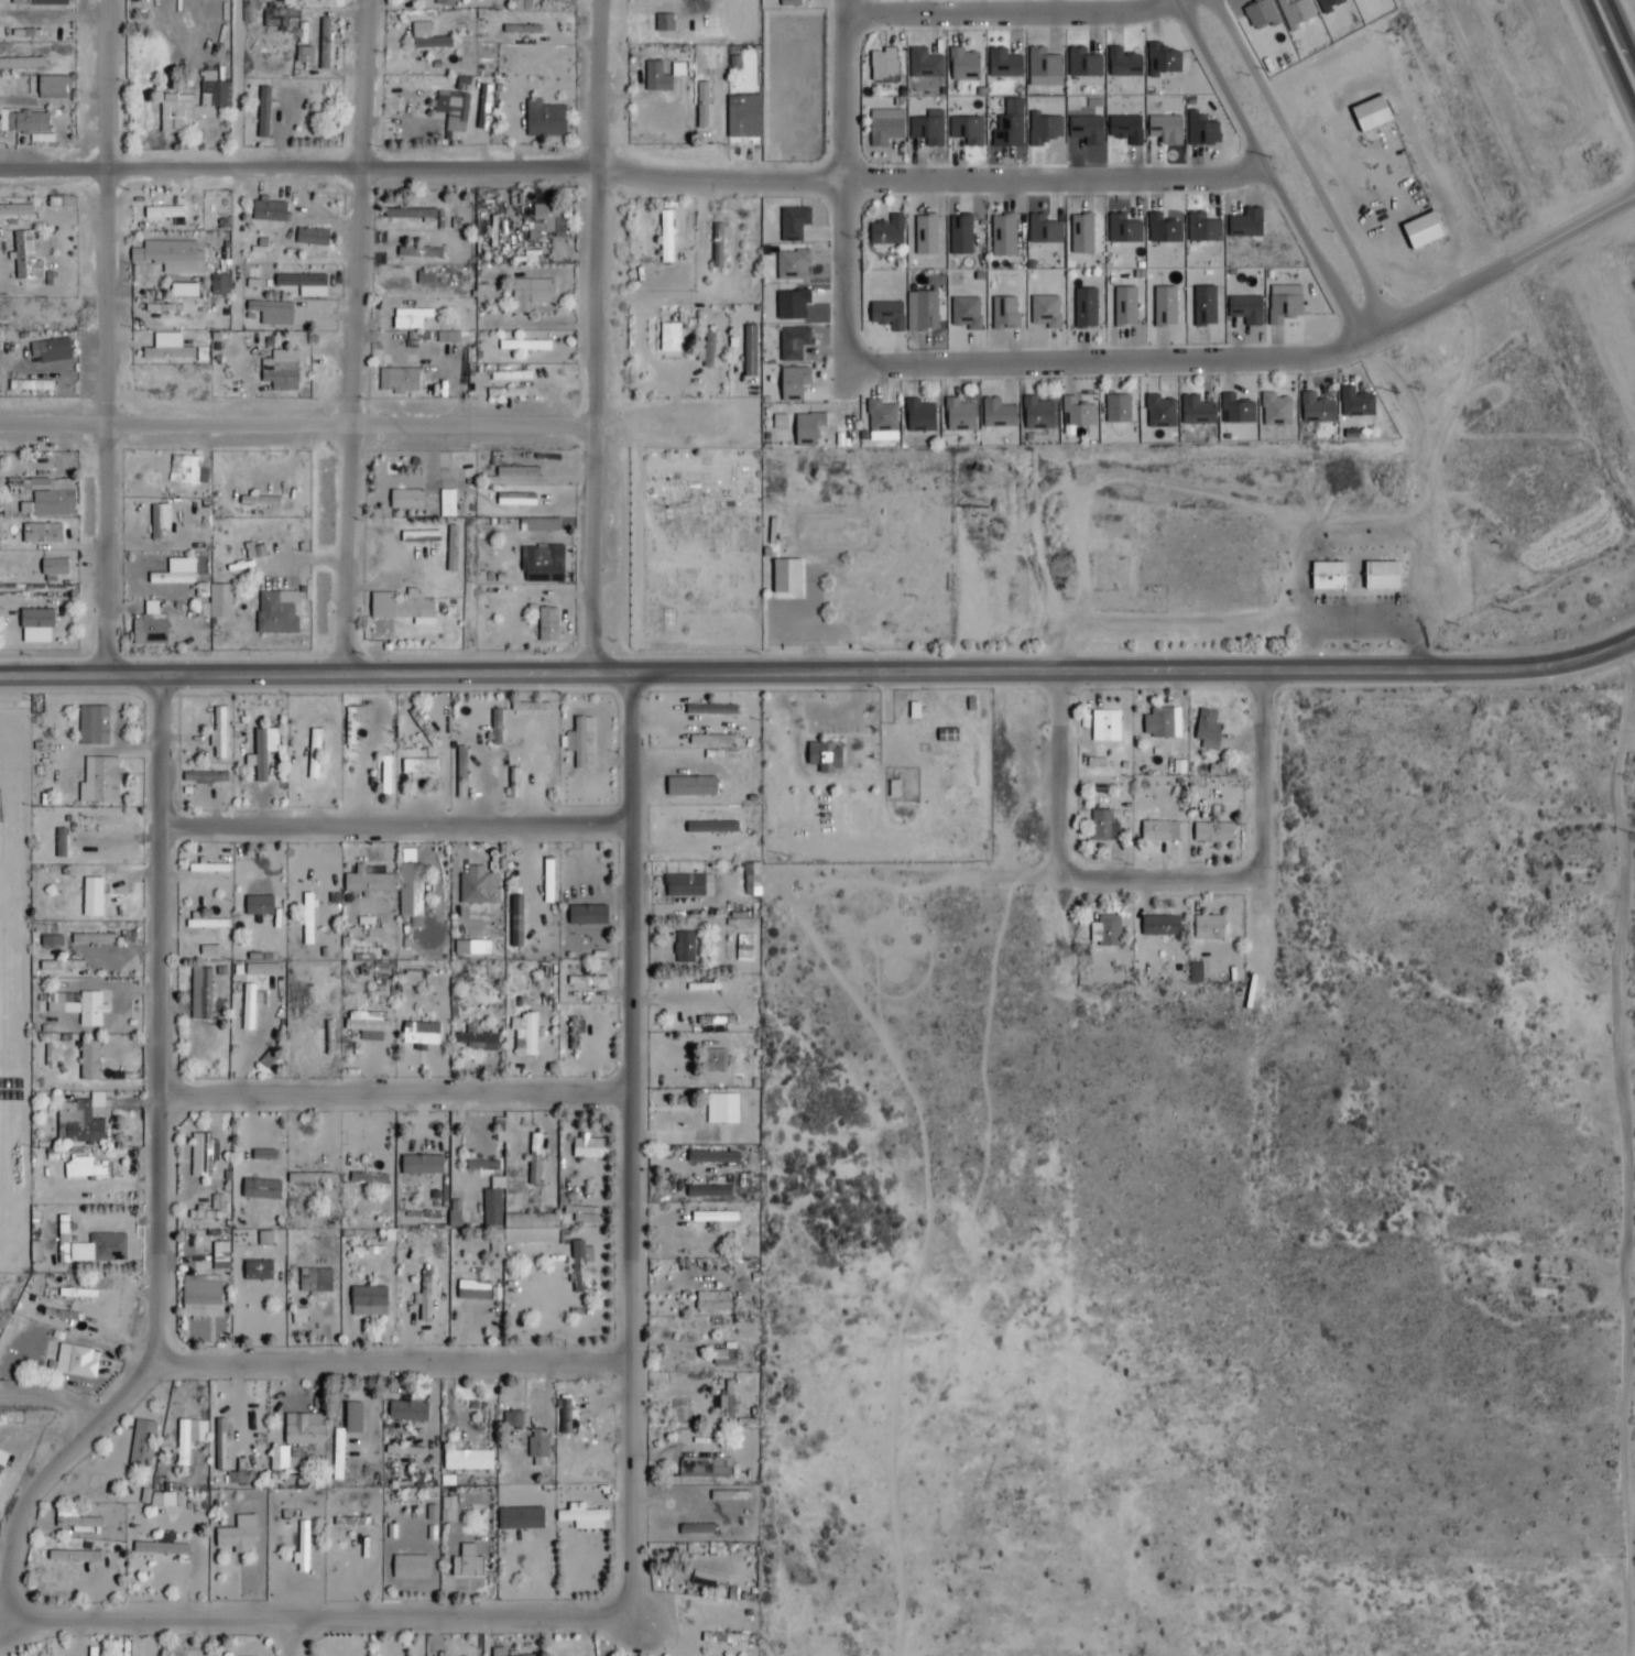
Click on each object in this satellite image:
building: (317, 1)
building: (39, 2)
building: (446, 3)
building: (247, 11)
road: (1010, 19)
building: (428, 40)
road: (1616, 41)
building: (325, 45)
building: (264, 56)
building: (22, 63)
road: (1603, 69)
building: (656, 78)
building: (54, 87)
road: (593, 87)
building: (192, 107)
building: (701, 109)
building: (456, 111)
building: (1372, 115)
building: (744, 118)
building: (545, 121)
building: (25, 122)
road: (1294, 164)
road: (230, 165)
road: (296, 172)
road: (1257, 173)
road: (925, 184)
road: (836, 201)
building: (61, 203)
building: (15, 211)
building: (269, 213)
building: (164, 214)
building: (410, 215)
building: (1421, 231)
building: (312, 238)
building: (23, 246)
building: (718, 247)
building: (416, 254)
building: (163, 261)
building: (221, 286)
building: (531, 295)
building: (268, 315)
road: (99, 335)
road: (353, 336)
building: (669, 338)
building: (524, 347)
building: (54, 351)
building: (168, 353)
building: (708, 355)
road: (1256, 366)
building: (281, 372)
building: (511, 377)
building: (397, 382)
building: (508, 393)
road: (595, 421)
road: (371, 423)
building: (184, 471)
building: (517, 473)
building: (15, 488)
building: (52, 499)
building: (406, 501)
building: (448, 504)
building: (155, 523)
building: (255, 553)
building: (542, 565)
building: (54, 568)
building: (1328, 577)
building: (1382, 577)
building: (786, 578)
building: (171, 580)
building: (220, 602)
building: (401, 608)
building: (277, 613)
building: (30, 617)
building: (548, 625)
road: (1354, 628)
building: (149, 631)
road: (819, 671)
building: (530, 707)
building: (353, 721)
building: (1163, 724)
building: (92, 727)
building: (1105, 727)
building: (497, 728)
building: (423, 729)
building: (719, 729)
building: (1208, 731)
building: (219, 733)
building: (948, 737)
building: (579, 743)
building: (314, 755)
building: (825, 758)
building: (419, 767)
building: (261, 771)
building: (461, 773)
building: (385, 776)
building: (207, 778)
road: (1050, 778)
building: (99, 782)
building: (513, 784)
building: (1103, 828)
road: (394, 830)
building: (1159, 832)
building: (1212, 835)
road: (1250, 879)
building: (548, 881)
building: (368, 884)
building: (410, 886)
building: (479, 887)
building: (91, 898)
building: (259, 907)
building: (514, 922)
building: (206, 925)
building: (1160, 927)
building: (1208, 929)
building: (1107, 931)
building: (94, 940)
building: (51, 943)
building: (684, 950)
building: (746, 956)
building: (414, 980)
building: (587, 982)
building: (200, 995)
building: (77, 1007)
building: (249, 1007)
building: (364, 1028)
building: (421, 1036)
building: (530, 1036)
building: (478, 1042)
building: (89, 1063)
building: (715, 1063)
road: (392, 1092)
building: (722, 1111)
building: (77, 1125)
road: (623, 1138)
building: (590, 1151)
building: (201, 1156)
building: (265, 1156)
building: (534, 1161)
building: (482, 1168)
road: (160, 1170)
building: (412, 1172)
building: (687, 1175)
building: (310, 1180)
building: (368, 1180)
building: (261, 1191)
road: (1626, 1212)
building: (369, 1220)
building: (524, 1232)
building: (102, 1249)
building: (212, 1256)
building: (579, 1267)
building: (258, 1273)
building: (315, 1282)
building: (68, 1295)
building: (200, 1296)
building: (368, 1303)
building: (713, 1303)
building: (724, 1358)
building: (73, 1362)
road: (393, 1362)
building: (407, 1413)
building: (352, 1418)
building: (513, 1421)
building: (303, 1436)
building: (188, 1438)
building: (146, 1445)
building: (220, 1445)
building: (538, 1445)
building: (397, 1451)
building: (338, 1456)
building: (468, 1461)
building: (705, 1468)
building: (240, 1479)
building: (729, 1497)
building: (520, 1519)
building: (584, 1519)
building: (352, 1523)
building: (78, 1524)
building: (697, 1529)
building: (235, 1538)
building: (303, 1547)
building: (160, 1549)
building: (76, 1559)
building: (467, 1567)
building: (410, 1568)
road: (316, 1610)
road: (297, 1633)
building: (724, 1639)
building: (498, 1653)

